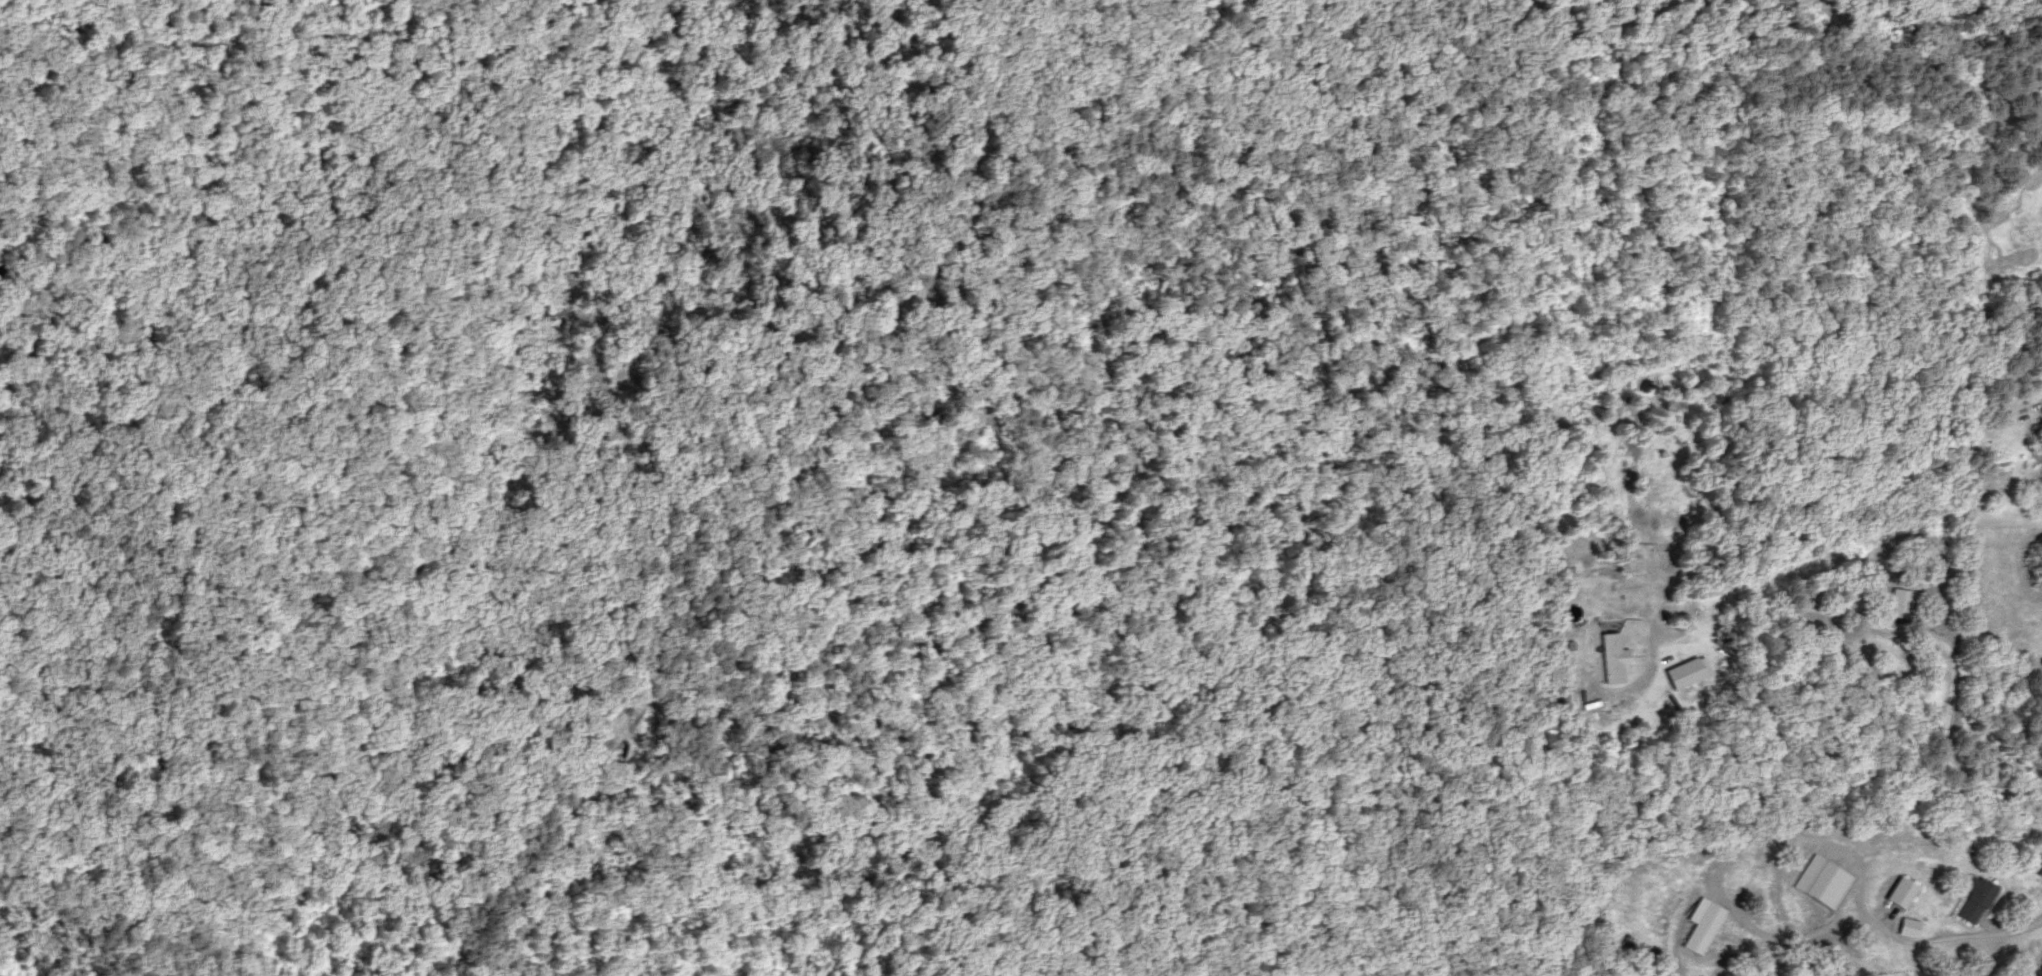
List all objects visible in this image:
building: (1899, 605)
building: (1613, 658)
building: (1822, 882)
building: (1900, 894)
building: (1975, 902)
building: (1702, 929)

